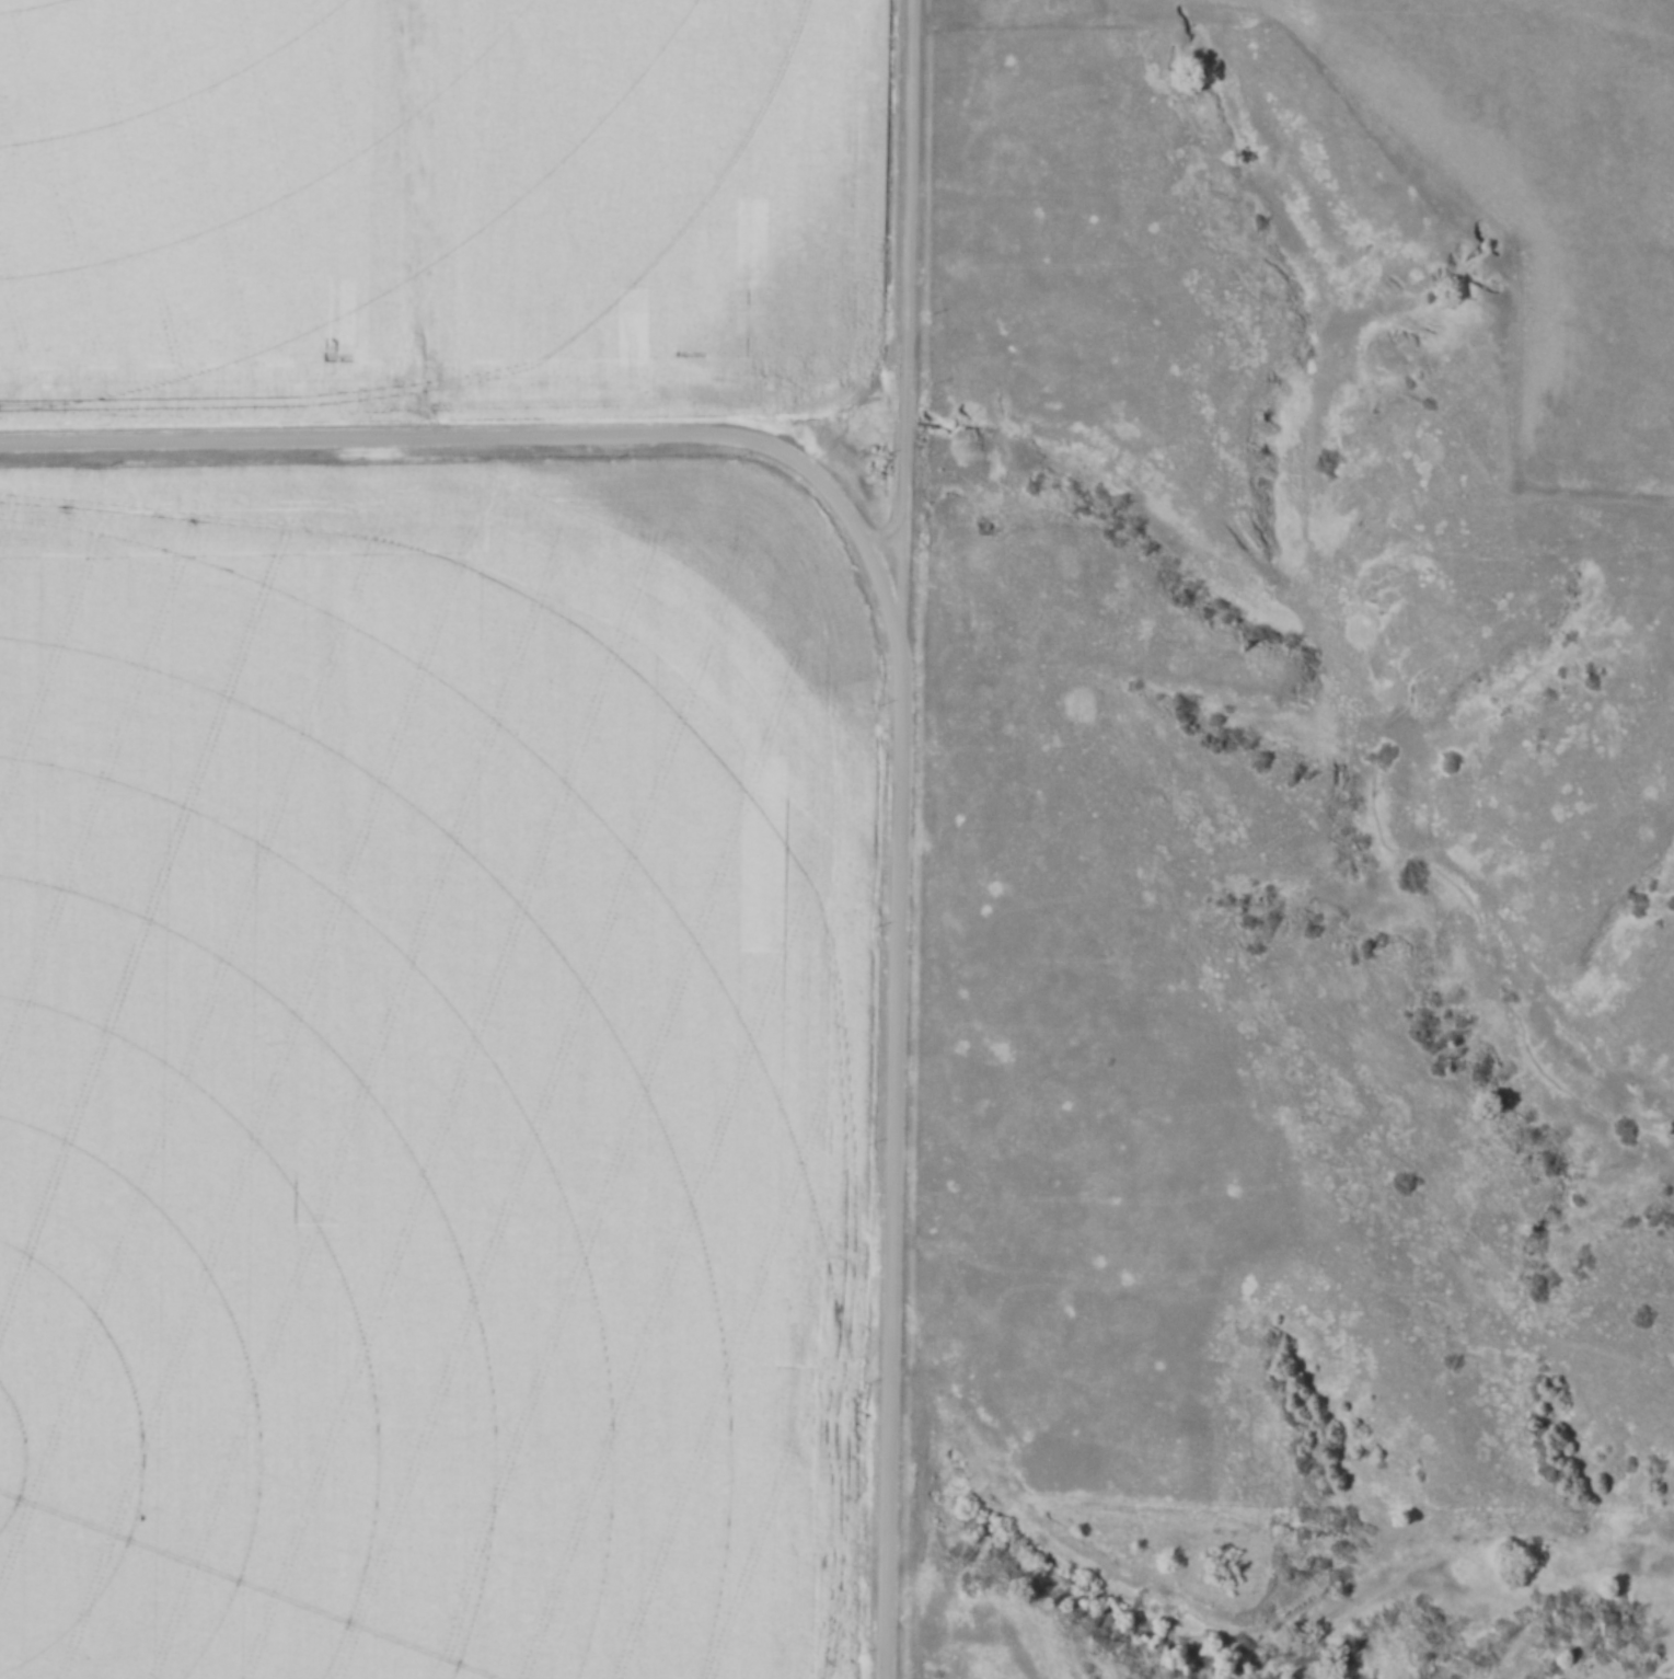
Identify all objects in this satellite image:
road: (512, 432)
road: (887, 552)
road: (901, 839)

